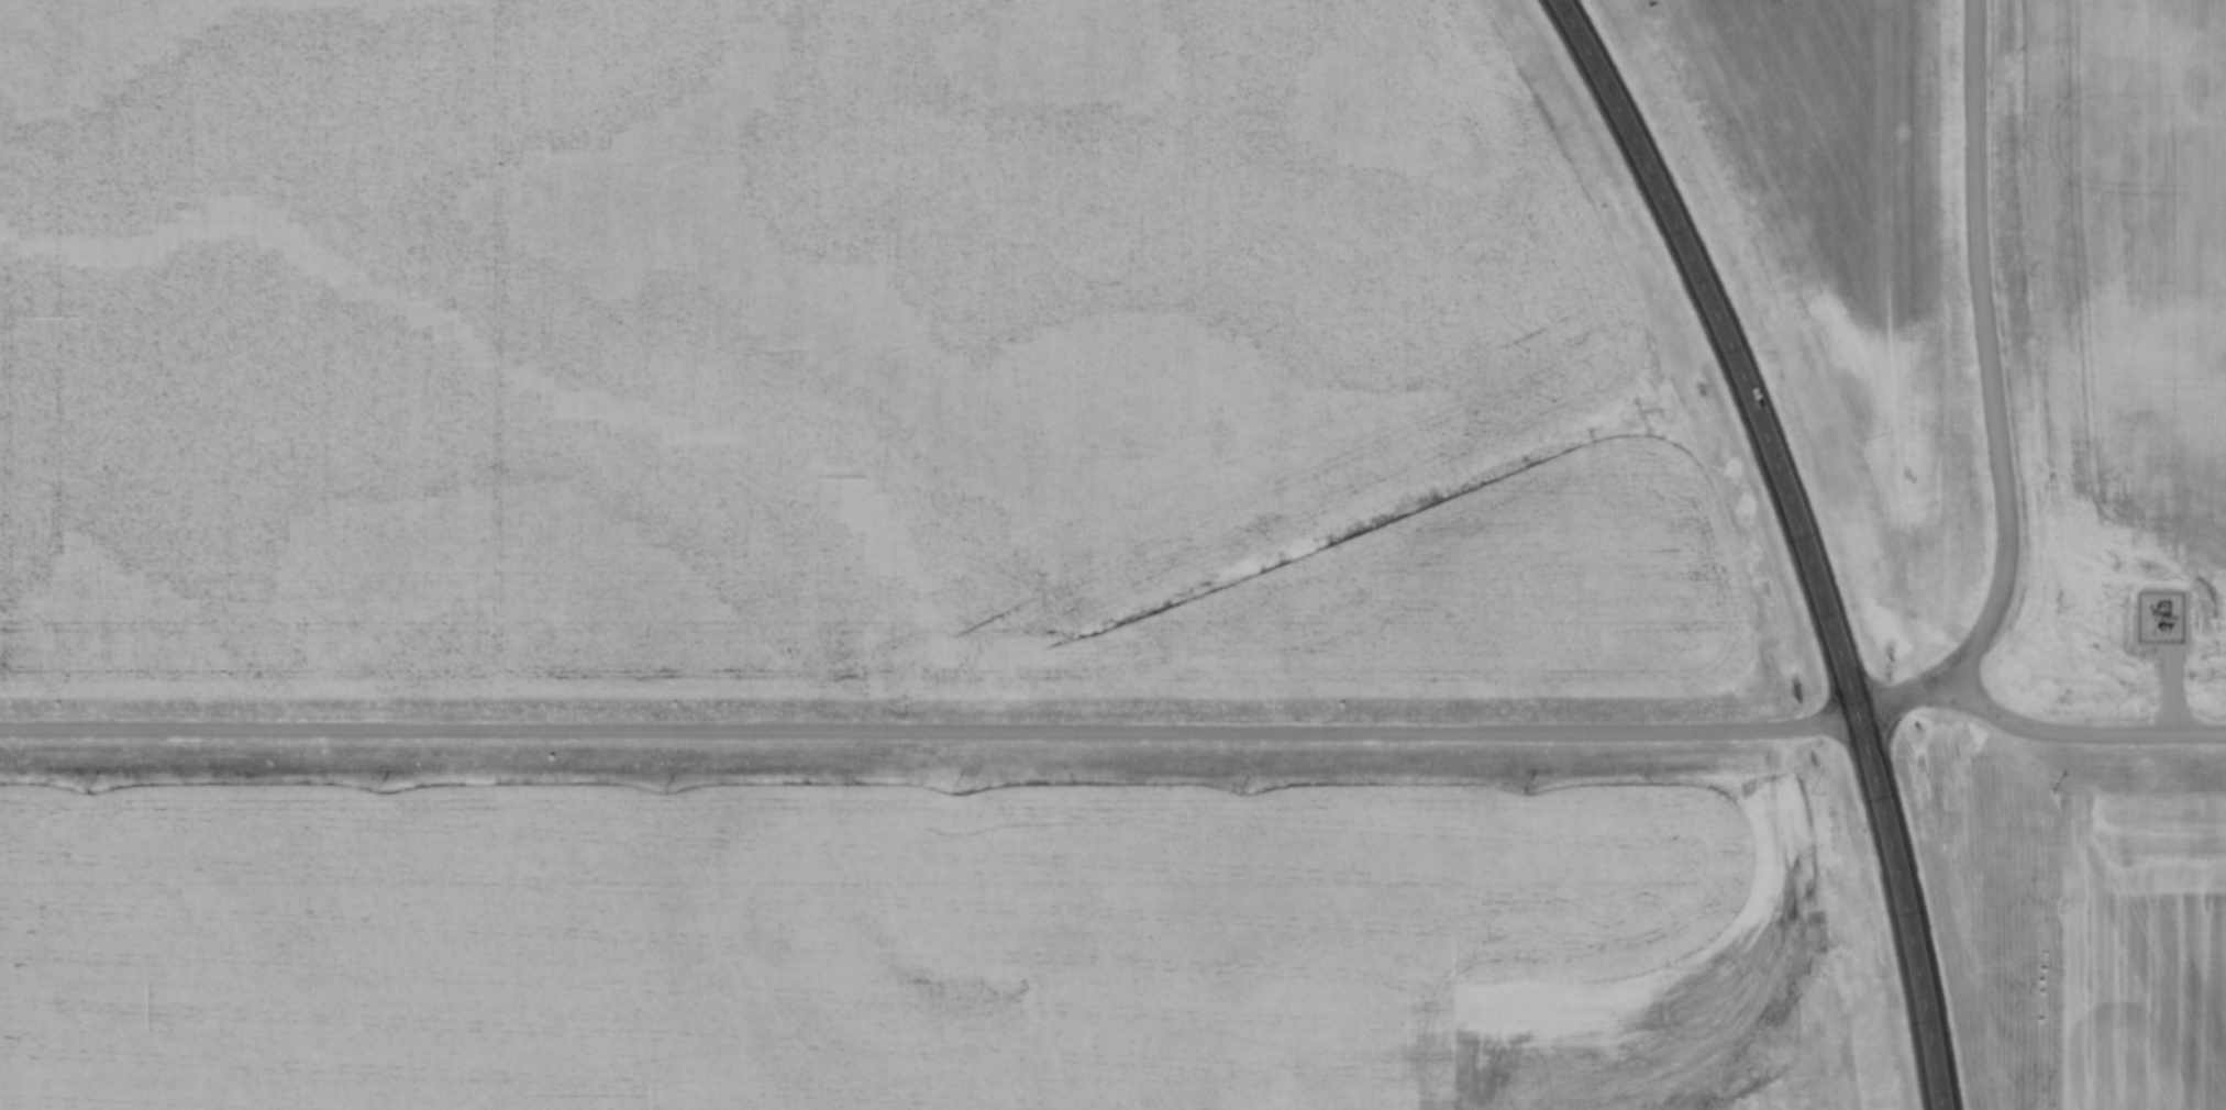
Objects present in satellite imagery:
road: (1735, 345)
road: (2000, 400)
road: (929, 729)
road: (2083, 736)
road: (1911, 910)

